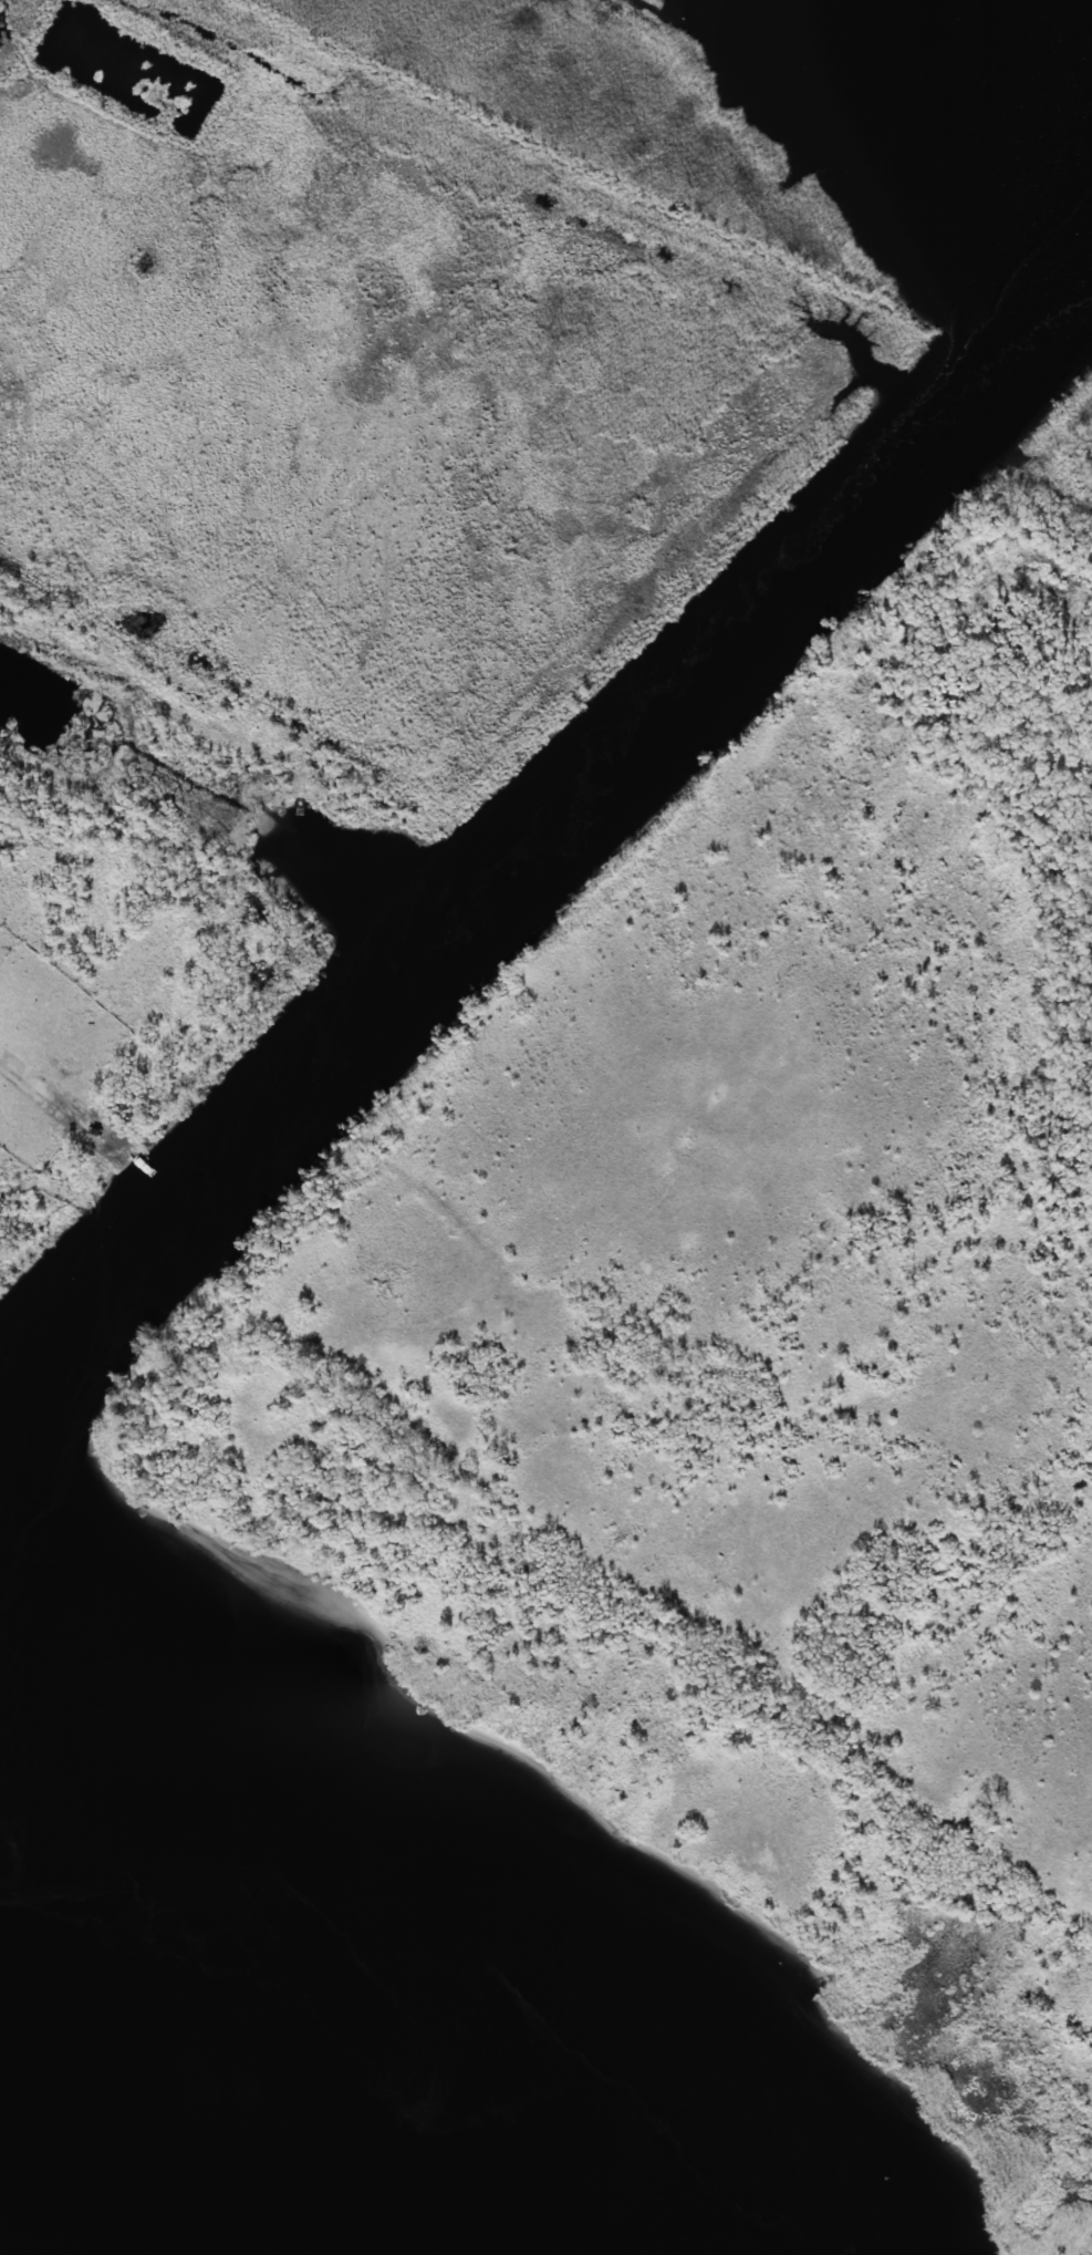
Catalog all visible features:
river: (318, 2063)

